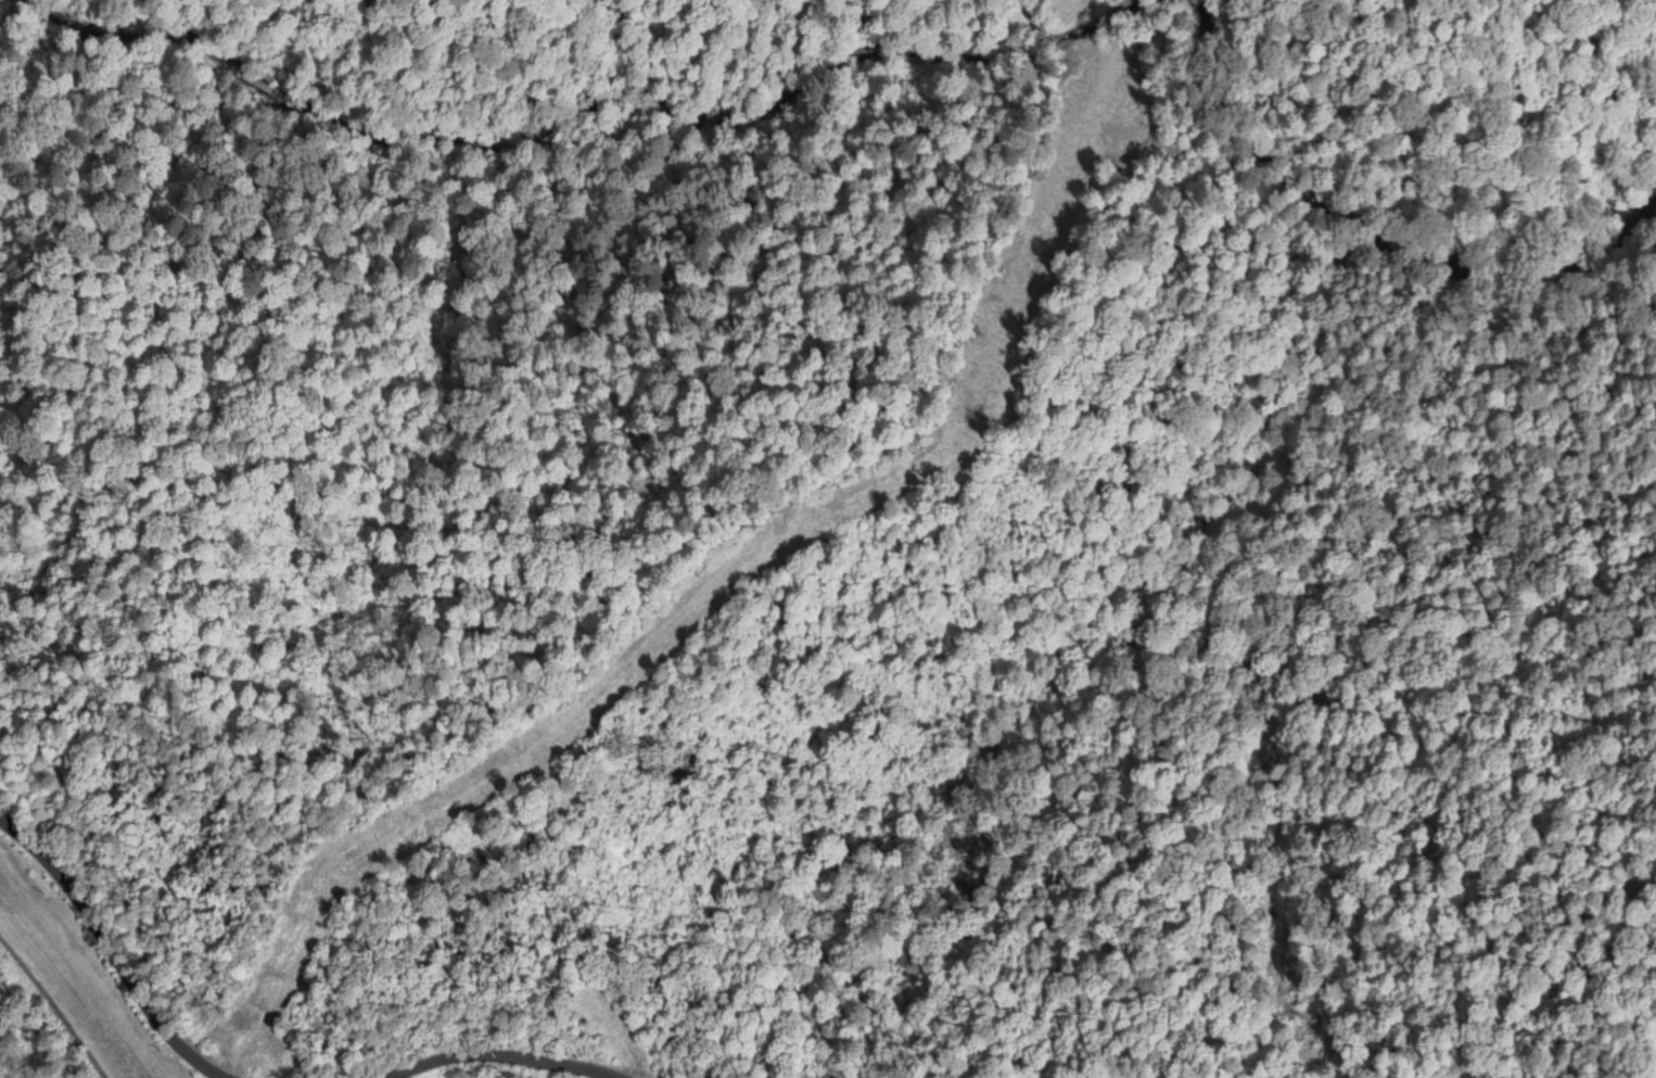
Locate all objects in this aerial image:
road: (106, 950)
road: (494, 1056)

